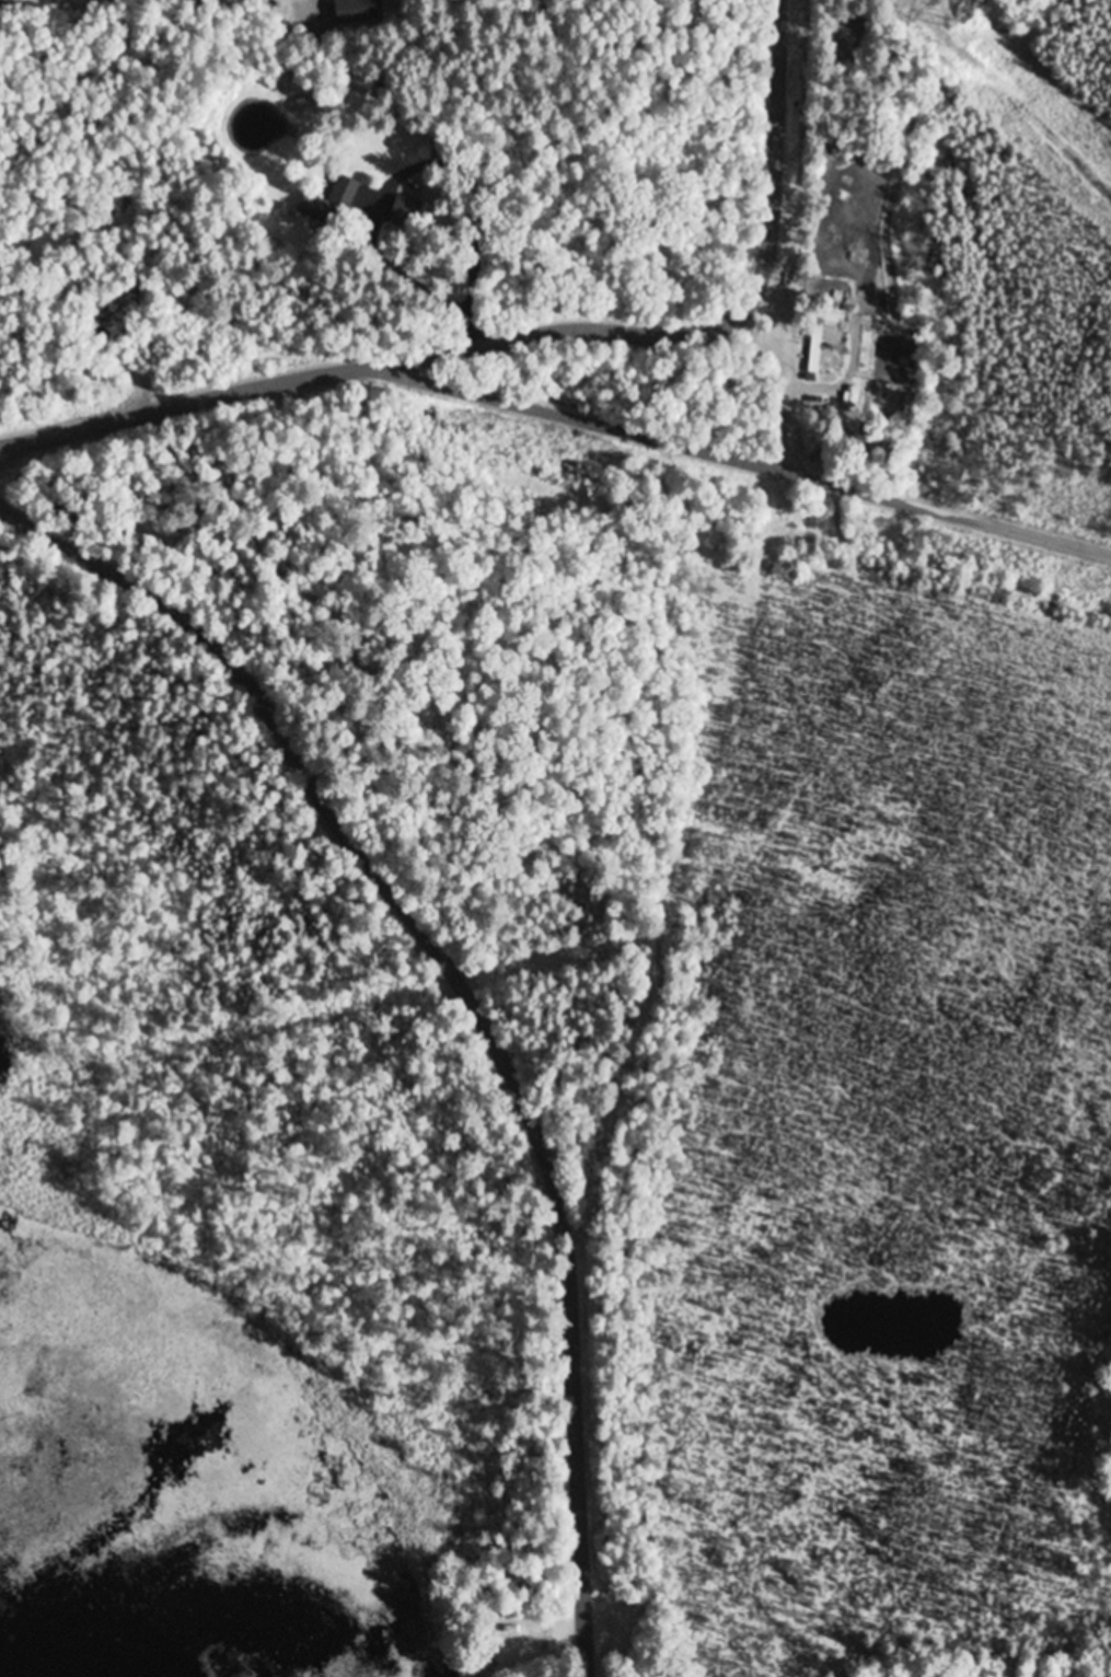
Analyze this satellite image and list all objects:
power tower: (956, 25)
building: (332, 205)
building: (406, 212)
road: (530, 339)
building: (813, 358)
road: (722, 398)
road: (741, 464)
road: (984, 586)
road: (473, 999)

